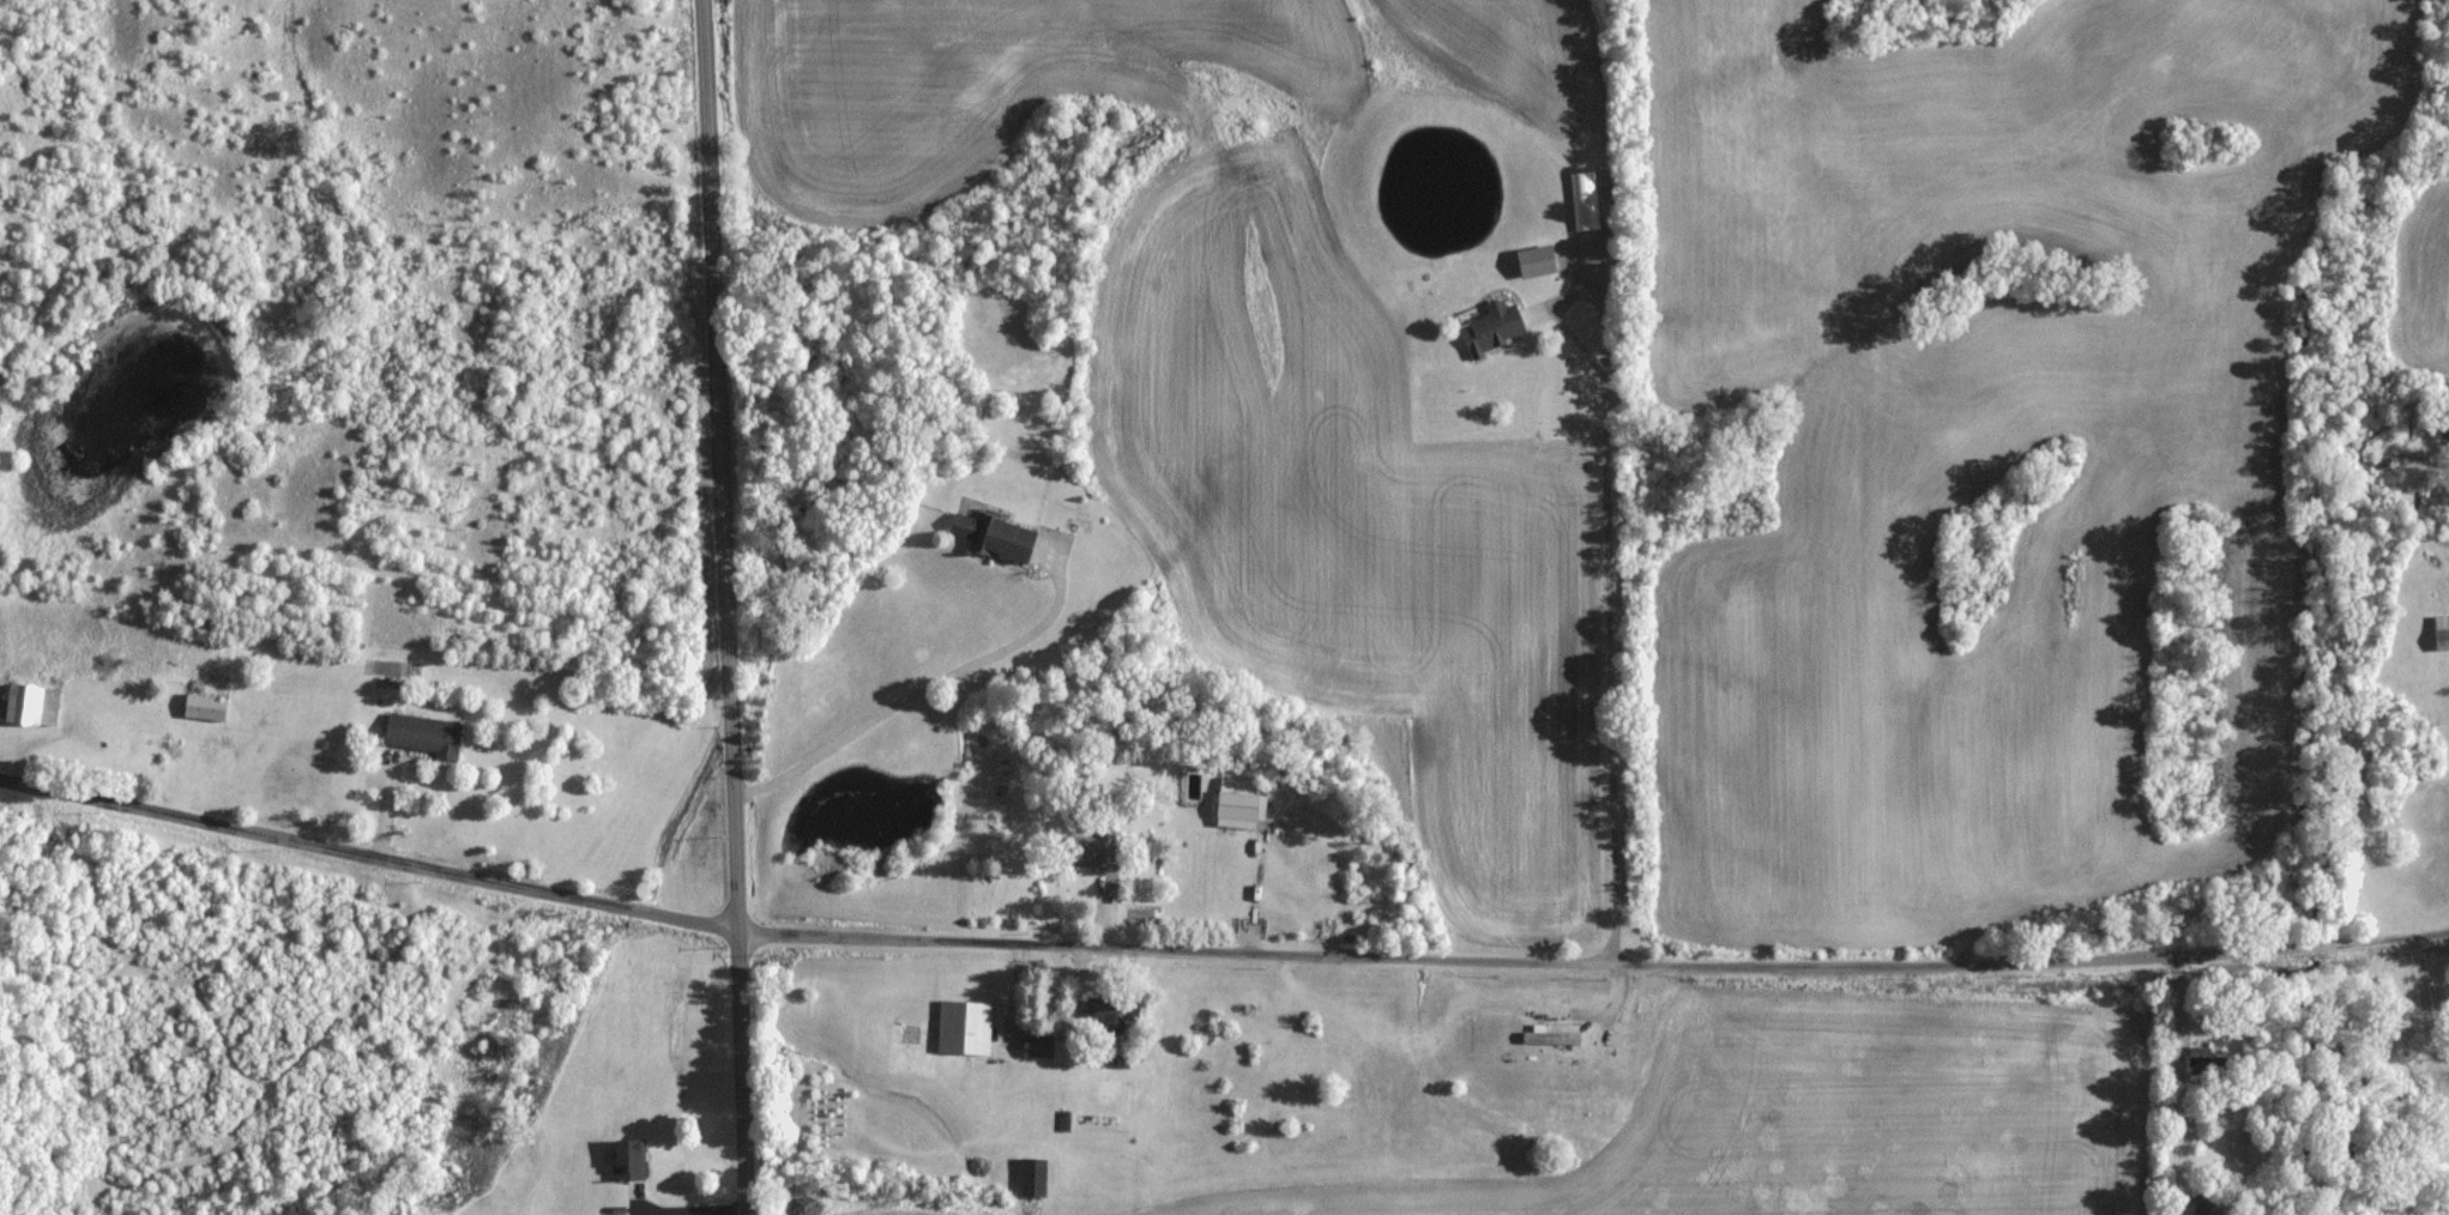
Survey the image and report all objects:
building: (1584, 199)
building: (1533, 260)
building: (1492, 326)
road: (726, 606)
building: (2441, 633)
road: (1606, 643)
road: (922, 689)
building: (28, 705)
building: (418, 735)
building: (1237, 803)
road: (1217, 950)
building: (963, 1026)
road: (2176, 1083)
building: (2254, 1148)
building: (627, 1159)
building: (1031, 1175)
building: (2208, 1204)

